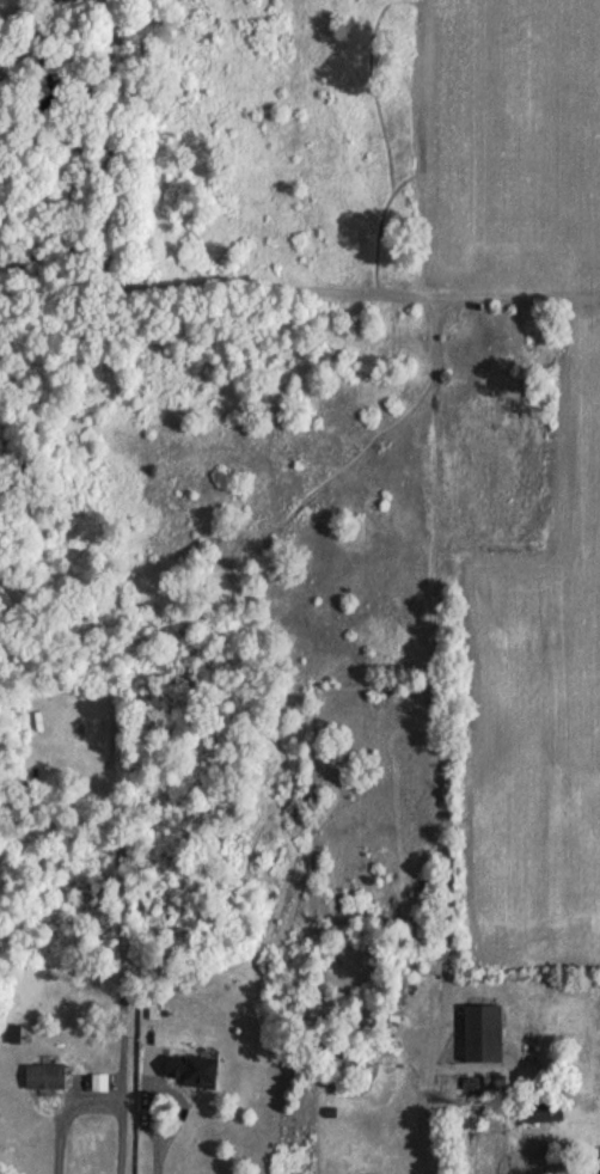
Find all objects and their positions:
road: (220, 277)
road: (442, 729)
building: (489, 1033)
building: (195, 1071)
building: (48, 1077)
road: (97, 1105)
road: (179, 1124)
road: (562, 1157)
building: (507, 1162)

